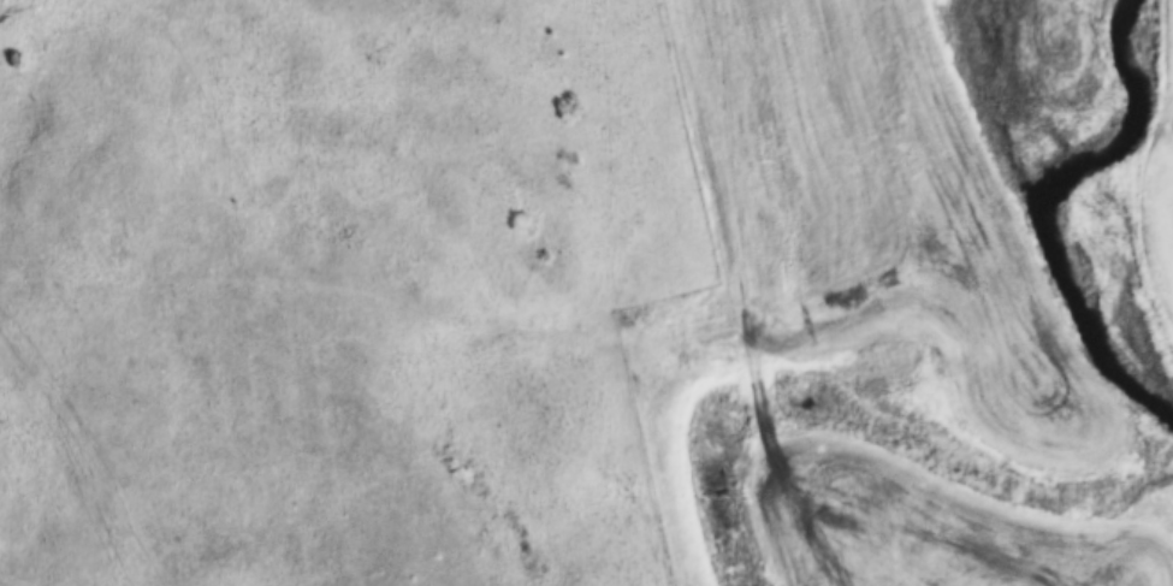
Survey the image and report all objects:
river: (1050, 208)

